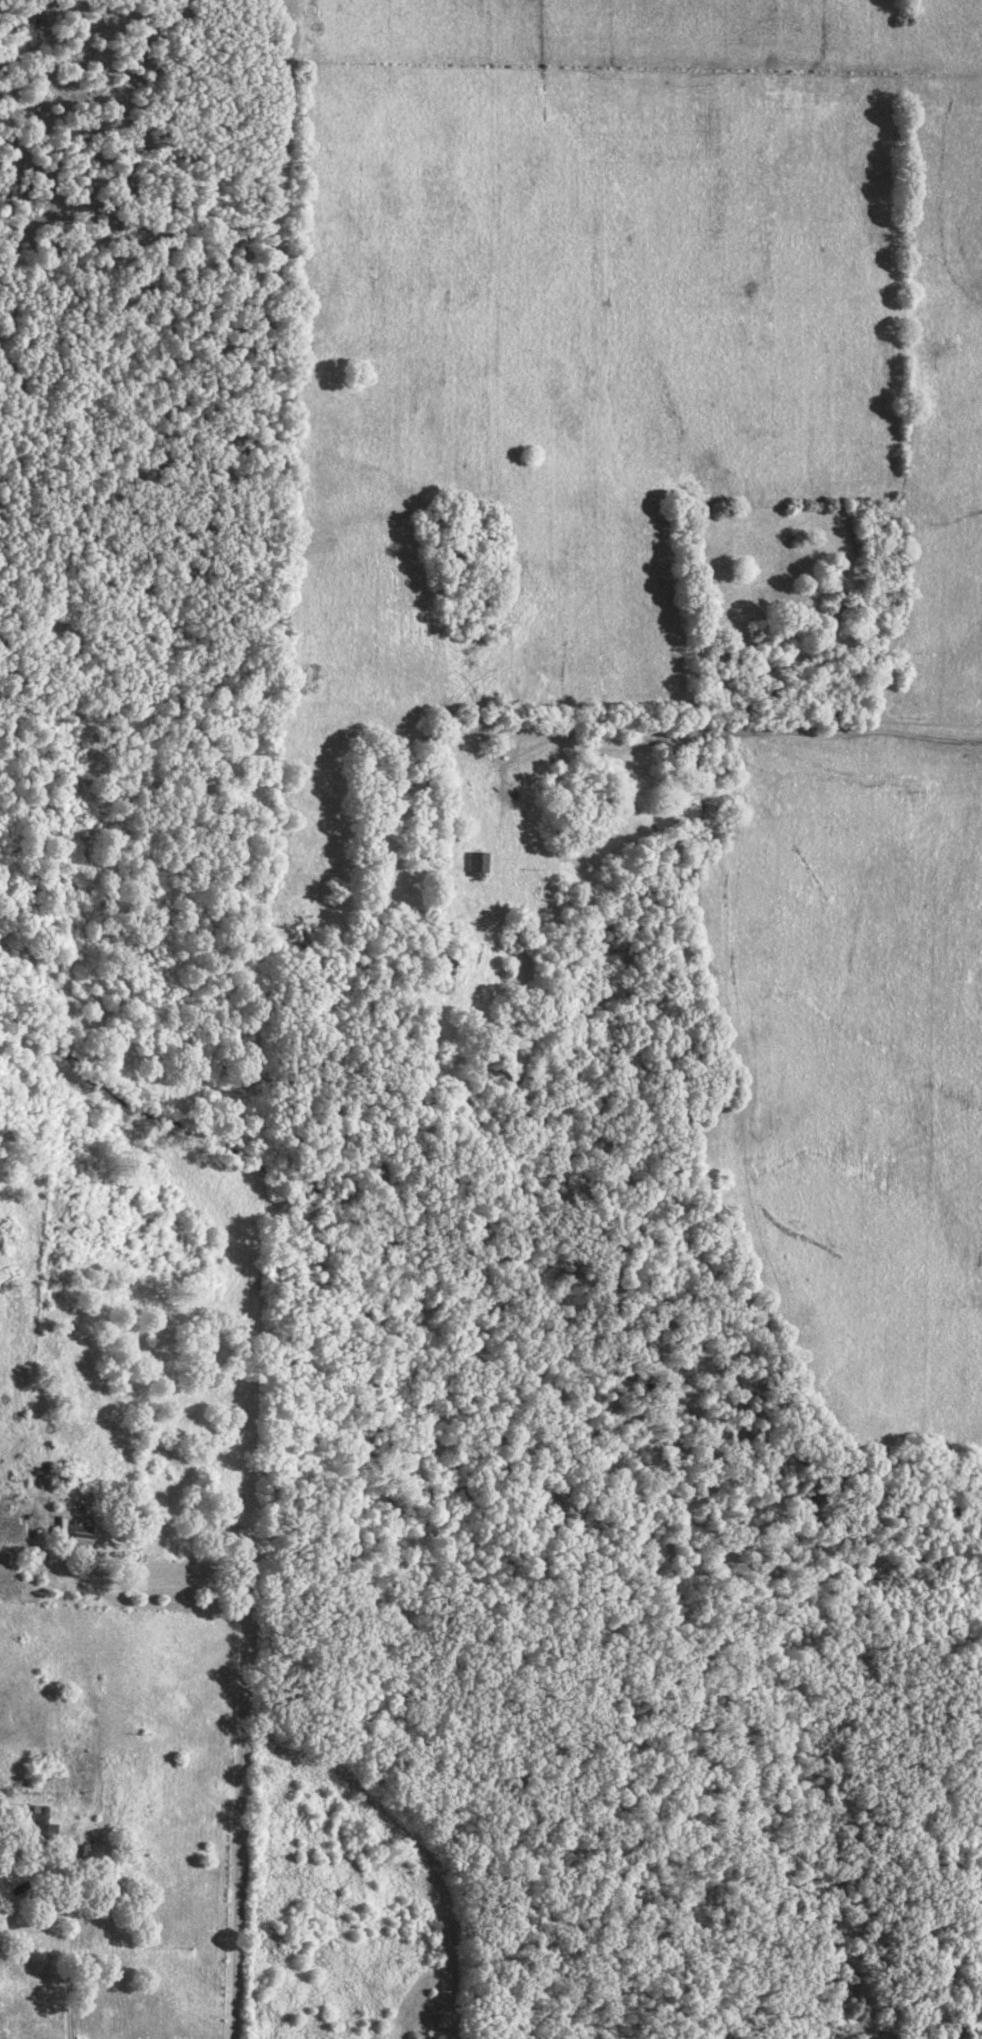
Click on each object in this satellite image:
road: (778, 730)
building: (477, 864)
building: (78, 1533)
road: (256, 1627)
building: (42, 1821)
road: (70, 1950)

